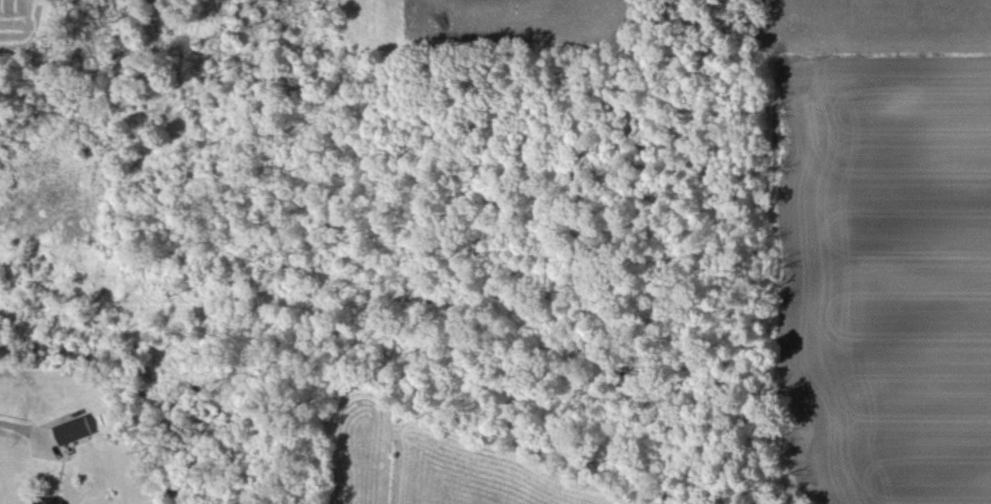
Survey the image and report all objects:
road: (24, 427)
building: (74, 430)
building: (45, 502)

